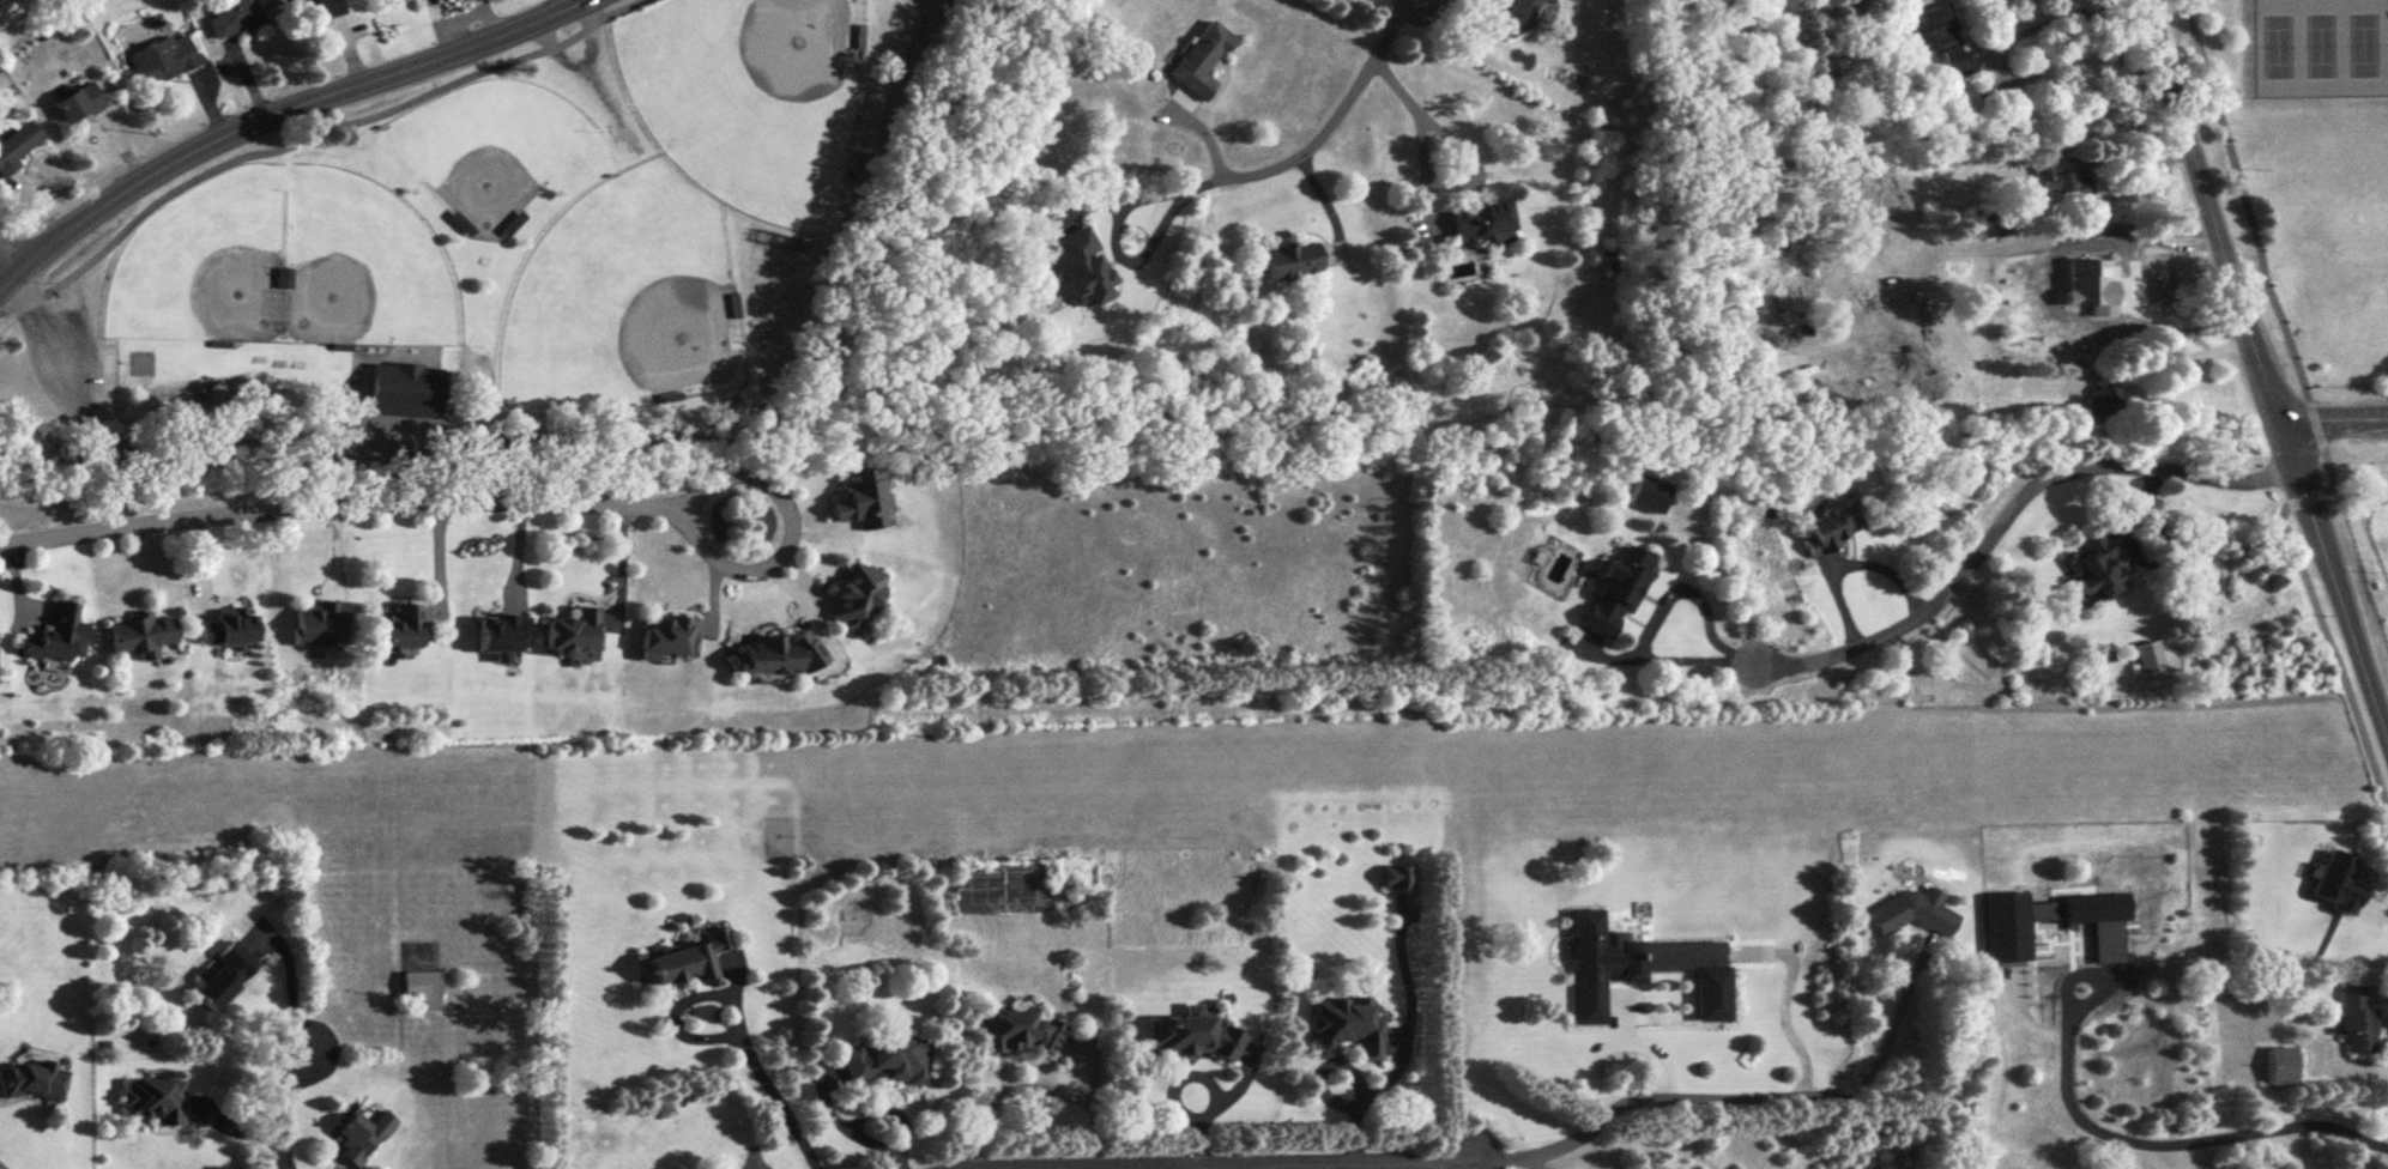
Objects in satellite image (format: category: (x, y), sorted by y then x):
building: (1543, 0)
building: (318, 8)
building: (231, 16)
building: (1517, 16)
road: (2043, 22)
building: (1942, 35)
park: (2363, 42)
park: (2314, 43)
park: (2269, 44)
building: (162, 57)
building: (1199, 57)
road: (585, 62)
park: (749, 93)
building: (1960, 101)
building: (77, 102)
road: (607, 104)
road: (1413, 108)
road: (274, 116)
road: (1324, 125)
road: (302, 138)
park: (497, 138)
road: (2127, 144)
building: (16, 145)
park: (2304, 171)
building: (2063, 180)
road: (2249, 211)
building: (1984, 213)
building: (1480, 219)
road: (1113, 248)
park: (515, 253)
park: (205, 254)
park: (359, 254)
road: (8, 258)
building: (1288, 259)
building: (1080, 267)
building: (2068, 269)
building: (282, 277)
road: (2135, 284)
park: (624, 286)
road: (2178, 356)
road: (2262, 367)
building: (464, 383)
building: (400, 387)
building: (2100, 400)
road: (2334, 420)
road: (586, 438)
road: (2357, 453)
road: (339, 504)
road: (2011, 513)
building: (1826, 526)
road: (2148, 529)
road: (790, 533)
road: (1844, 558)
building: (2092, 567)
building: (1615, 586)
building: (854, 595)
road: (2313, 602)
road: (1650, 614)
building: (313, 623)
building: (395, 629)
building: (570, 629)
building: (139, 634)
building: (56, 635)
building: (665, 636)
building: (774, 653)
airport runway: (1169, 762)
airport: (1074, 769)
building: (1395, 877)
building: (1912, 910)
building: (2007, 926)
building: (684, 958)
building: (223, 975)
building: (421, 987)
road: (675, 1001)
building: (2356, 1019)
building: (1343, 1024)
building: (1012, 1030)
building: (1187, 1035)
road: (1402, 1037)
building: (882, 1059)
building: (2279, 1064)
building: (29, 1080)
road: (1036, 1083)
road: (1731, 1096)
building: (152, 1098)
road: (774, 1101)
road: (284, 1107)
building: (359, 1134)
road: (2159, 1144)
road: (1535, 1162)
road: (1284, 1164)
road: (1429, 1165)
road: (1, 1167)
road: (1329, 1167)

